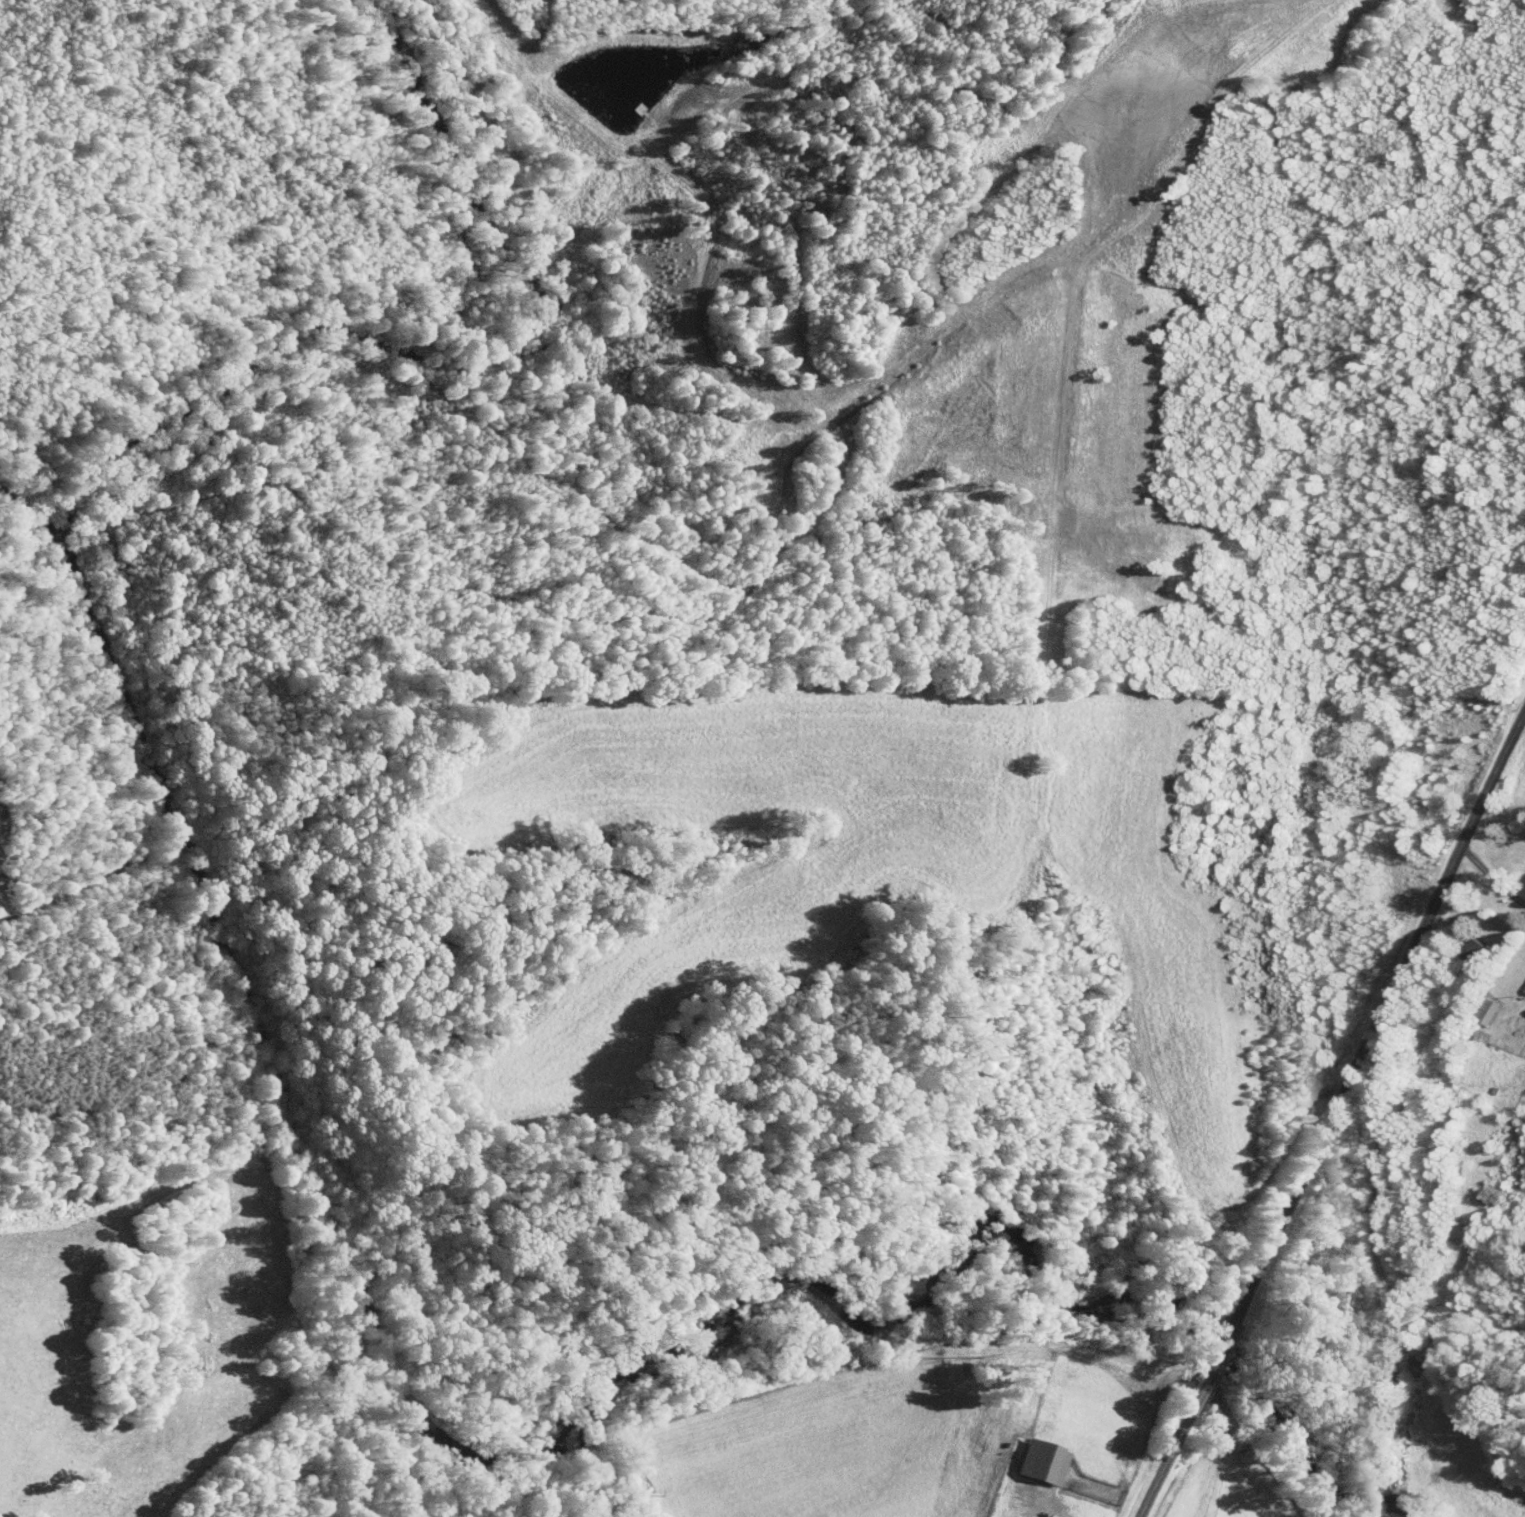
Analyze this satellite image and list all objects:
road: (1524, 713)
road: (1491, 874)
building: (1521, 977)
road: (1332, 1112)
building: (1034, 1455)
road: (1047, 1508)

